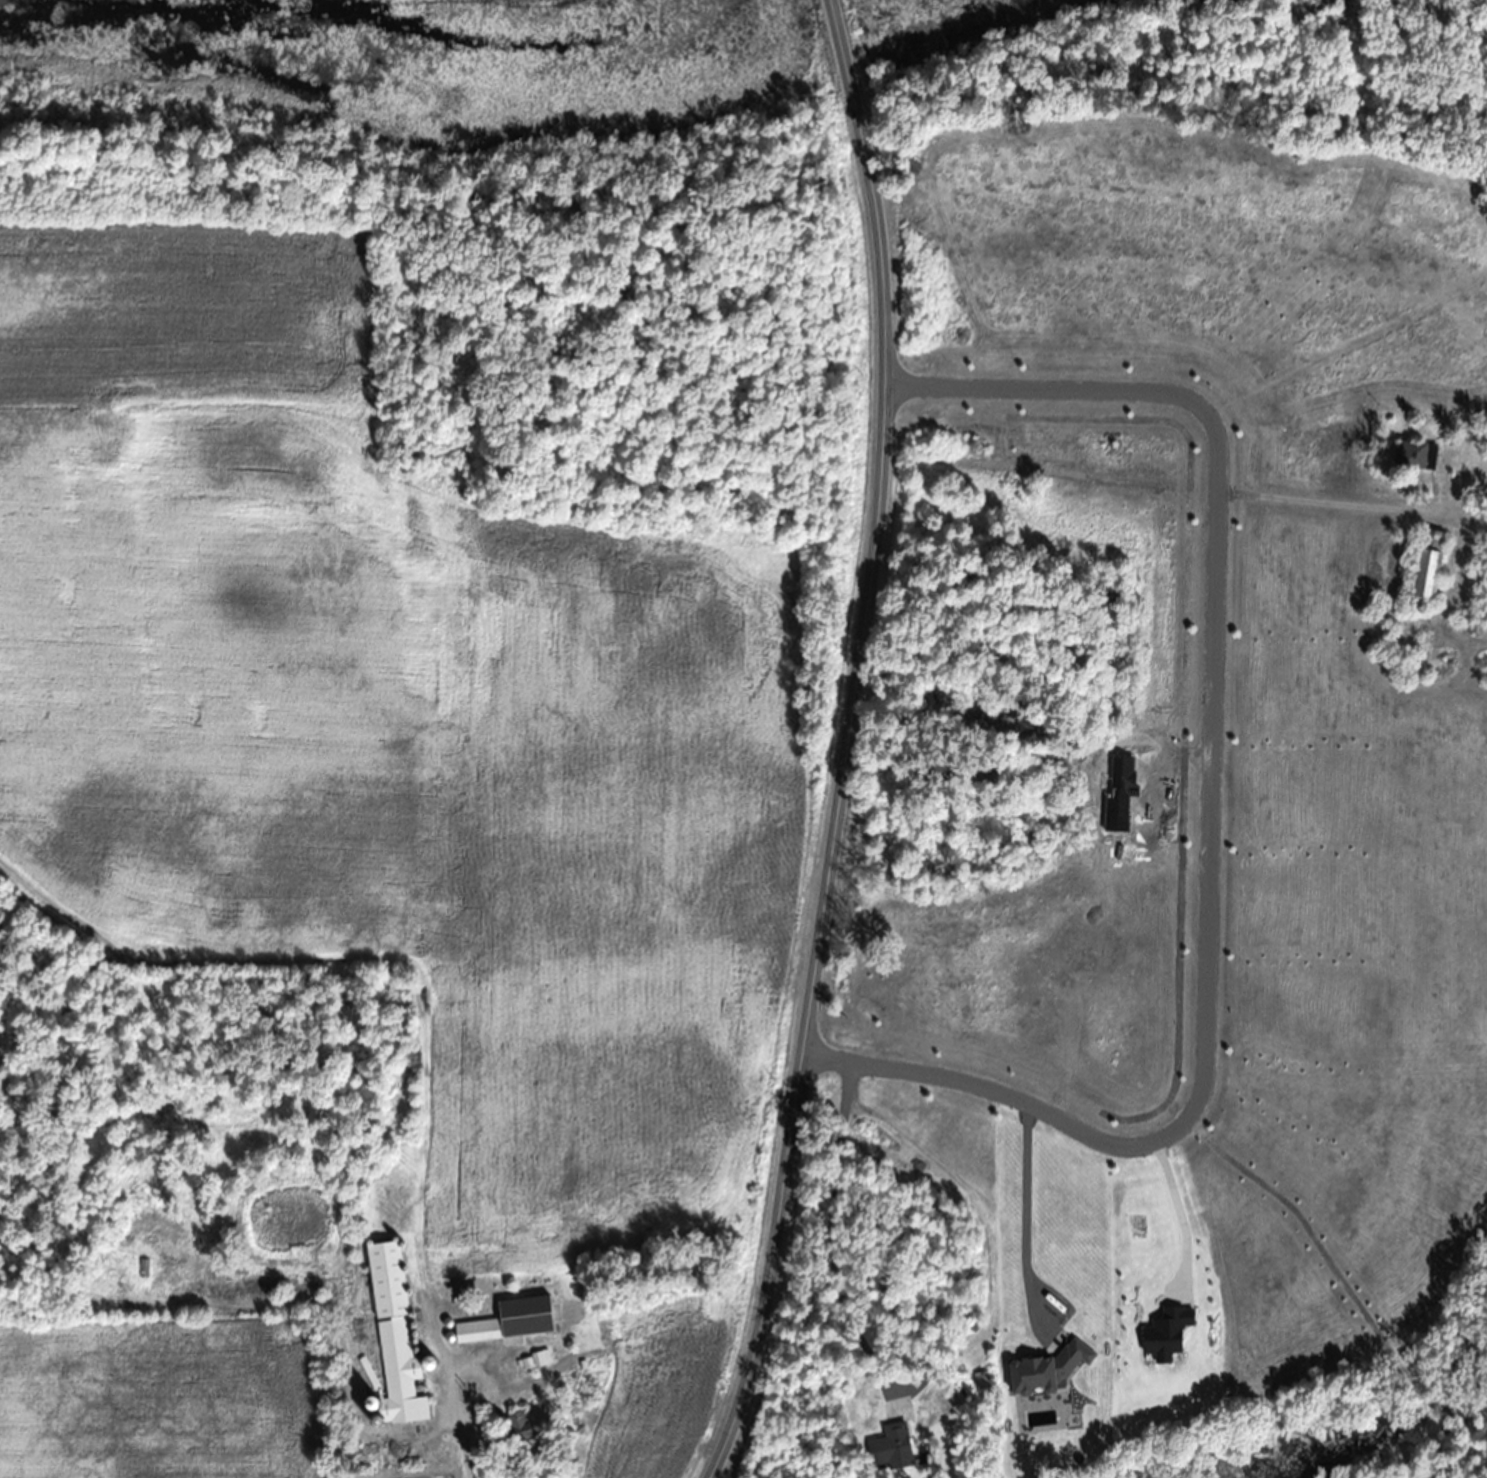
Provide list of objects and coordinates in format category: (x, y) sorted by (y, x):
building: (1417, 451)
road: (1319, 495)
building: (1428, 562)
road: (852, 742)
road: (1199, 806)
building: (511, 1319)
building: (395, 1332)
building: (536, 1358)
building: (519, 1424)
building: (891, 1446)
building: (1216, 1471)

